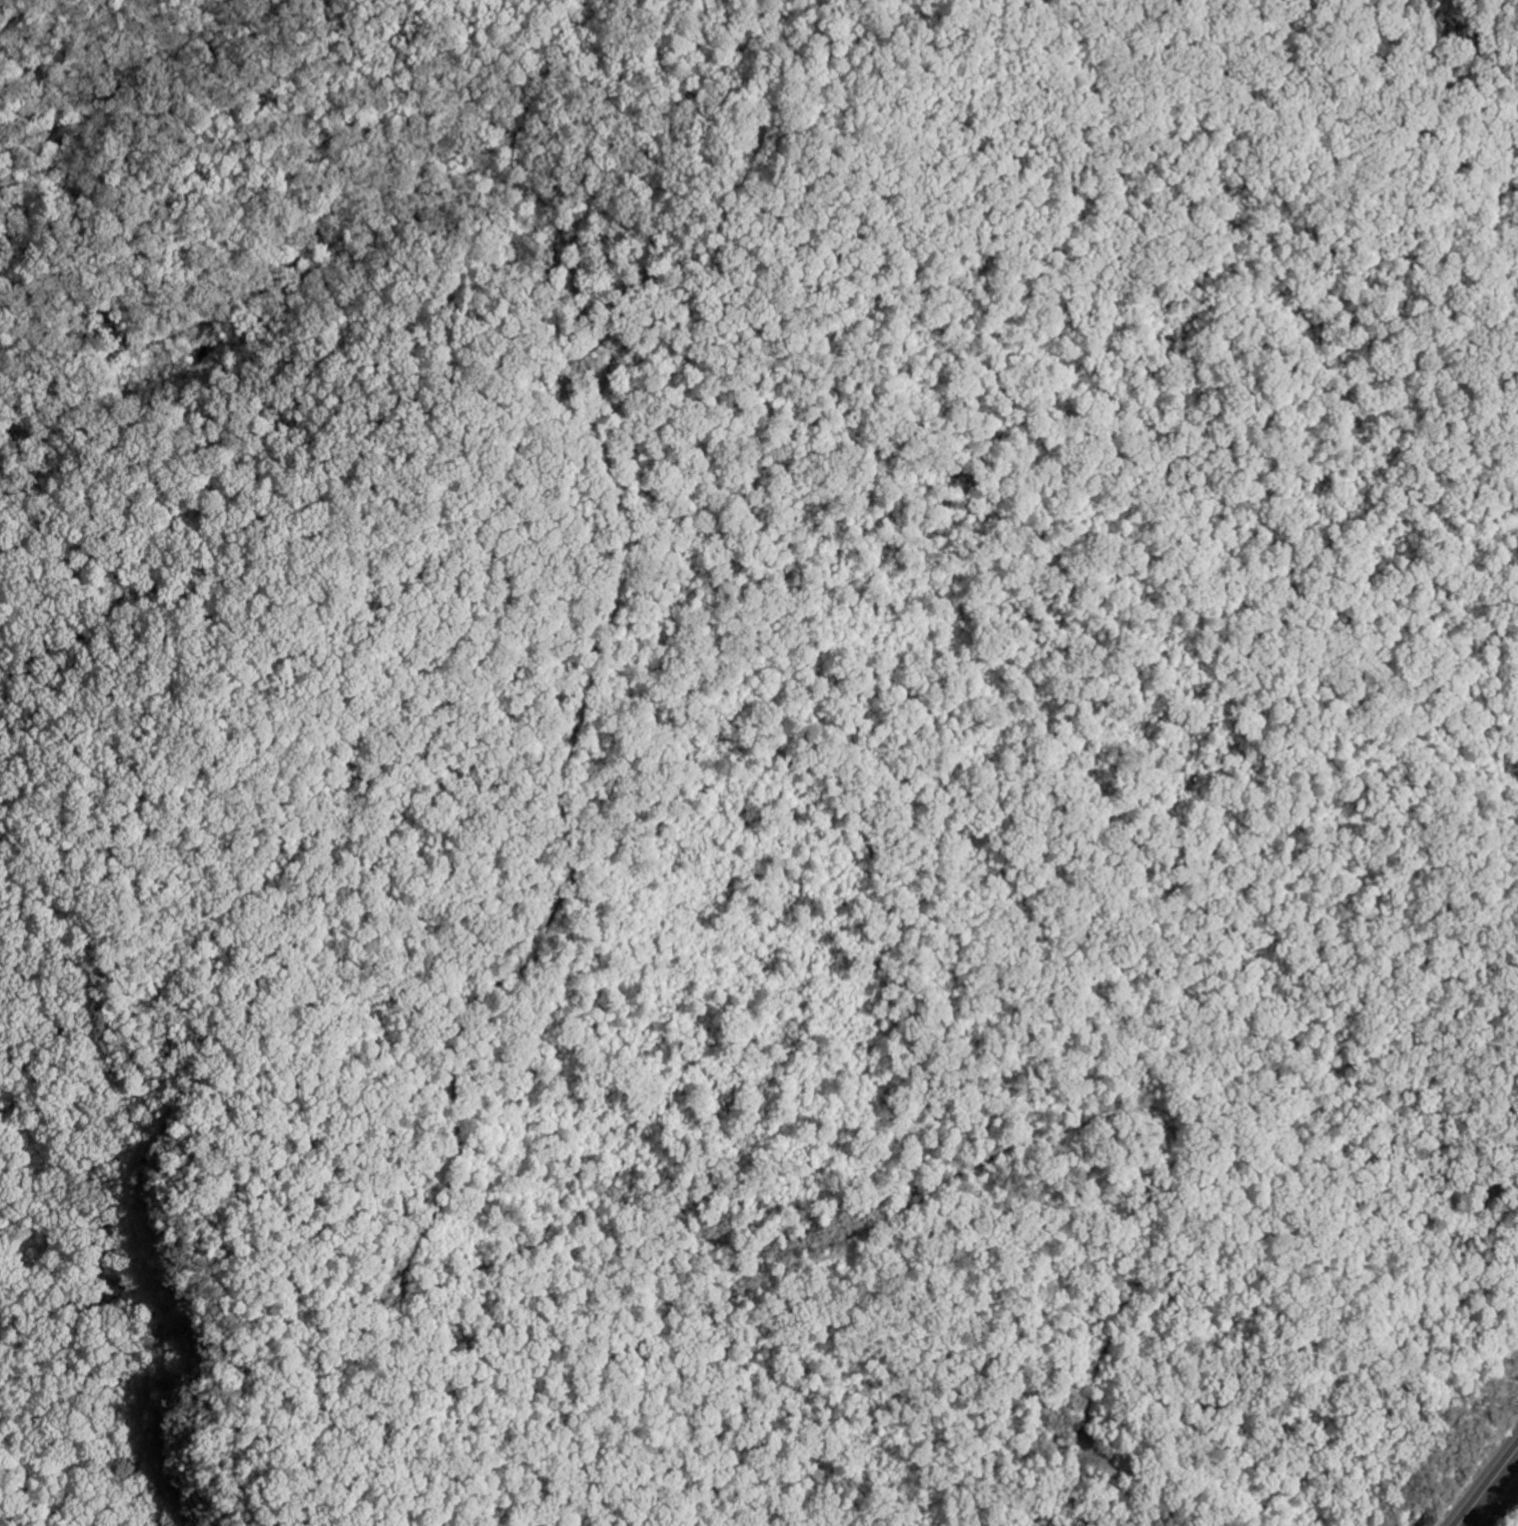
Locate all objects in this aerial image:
road: (1487, 1486)

